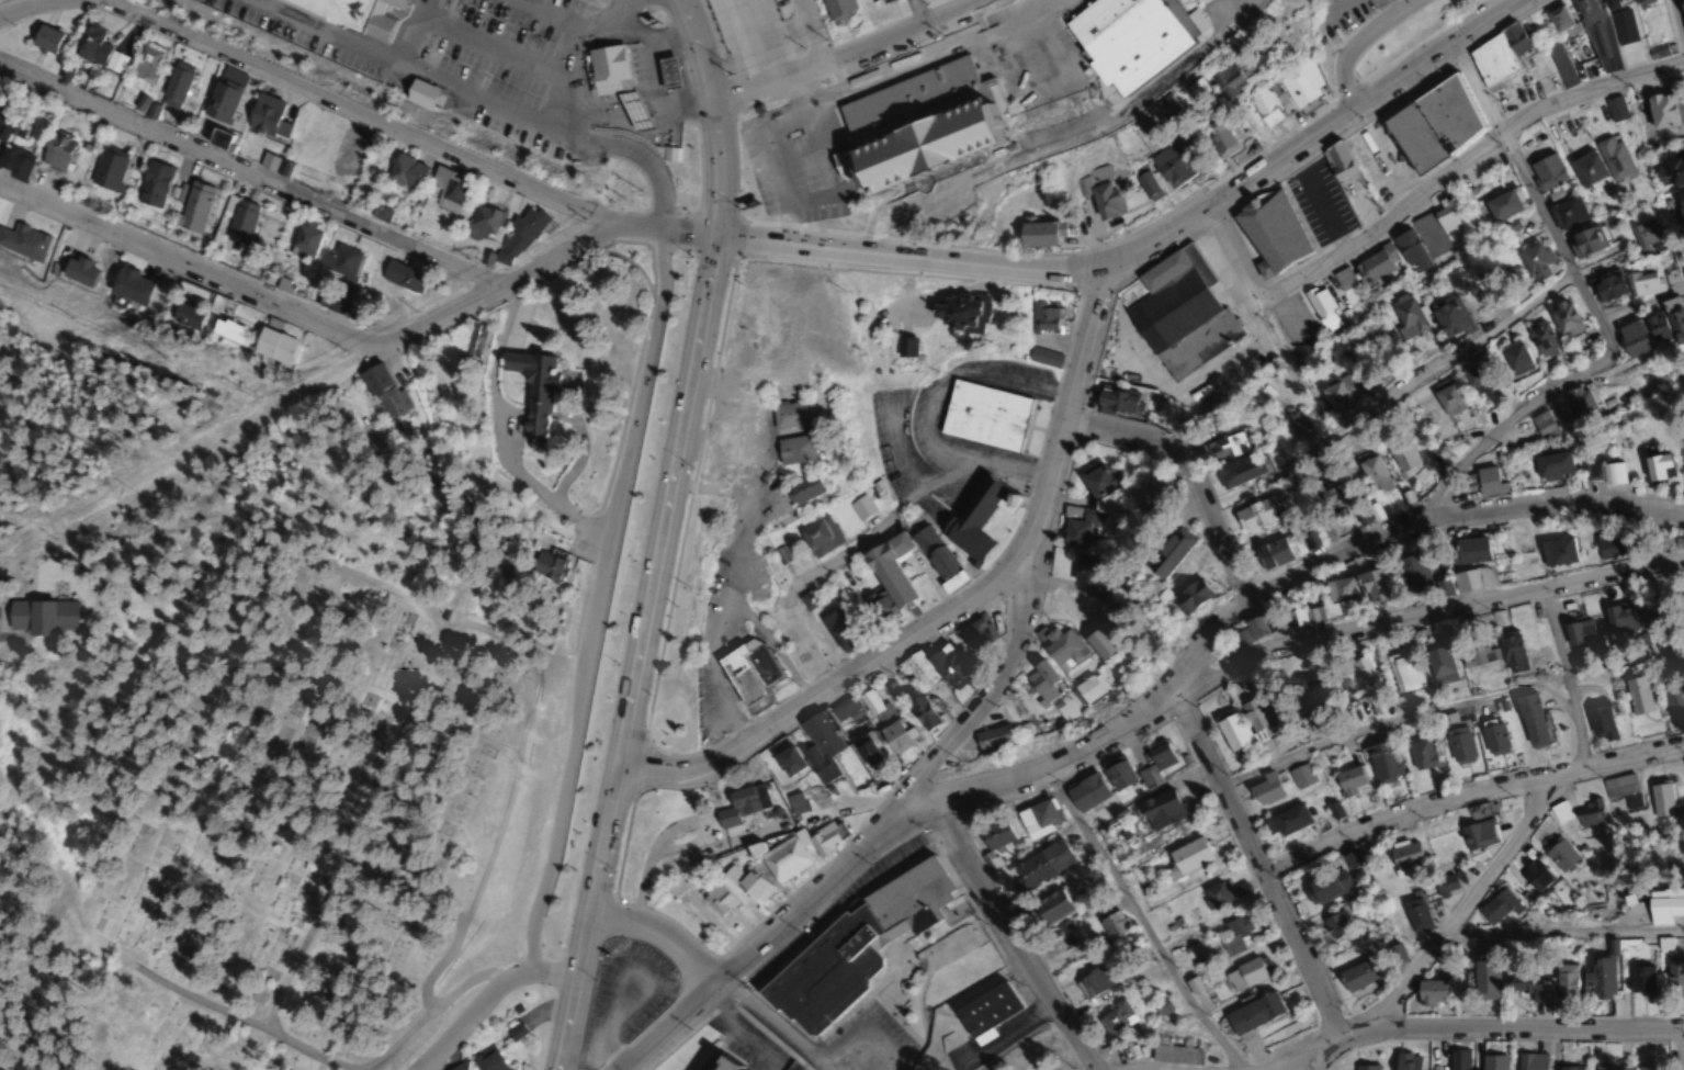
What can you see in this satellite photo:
building: (1634, 1)
building: (874, 2)
building: (1610, 3)
road: (23, 5)
building: (836, 9)
road: (919, 12)
road: (1680, 12)
building: (1681, 13)
building: (353, 14)
building: (1558, 19)
road: (807, 32)
building: (1126, 37)
building: (1596, 37)
building: (43, 40)
road: (1358, 43)
building: (88, 44)
road: (846, 53)
building: (1494, 54)
building: (143, 60)
building: (1557, 60)
road: (914, 63)
building: (636, 64)
building: (666, 72)
building: (1224, 80)
building: (1299, 83)
building: (173, 86)
building: (1191, 89)
building: (418, 93)
building: (219, 99)
road: (352, 106)
building: (1262, 106)
building: (1660, 111)
road: (722, 115)
building: (11, 122)
building: (1432, 122)
building: (913, 127)
road: (1315, 136)
building: (215, 138)
road: (1054, 139)
building: (1217, 142)
building: (53, 150)
building: (342, 153)
building: (1615, 159)
road: (1460, 164)
building: (273, 165)
building: (1166, 165)
building: (1490, 165)
building: (105, 170)
building: (1547, 171)
building: (1589, 171)
building: (1670, 171)
building: (402, 172)
road: (248, 176)
building: (1347, 182)
building: (1143, 183)
road: (1527, 183)
building: (152, 184)
building: (447, 194)
building: (1101, 196)
building: (1503, 204)
building: (1680, 204)
building: (191, 207)
building: (1563, 209)
building: (239, 218)
building: (482, 219)
building: (1437, 227)
building: (521, 232)
building: (1267, 232)
building: (1033, 234)
building: (1645, 234)
traffic signals: (726, 238)
building: (304, 240)
building: (1585, 240)
building: (23, 243)
building: (1409, 249)
road: (1229, 254)
road: (911, 258)
building: (1533, 259)
road: (538, 260)
road: (181, 261)
building: (340, 262)
building: (1371, 267)
building: (400, 277)
building: (1343, 279)
building: (1642, 282)
building: (129, 285)
building: (1606, 288)
building: (331, 303)
building: (959, 313)
building: (1176, 313)
building: (184, 315)
building: (1449, 316)
building: (1043, 317)
building: (1406, 317)
building: (1564, 319)
building: (1672, 319)
building: (1655, 328)
building: (228, 330)
building: (1631, 338)
building: (1541, 339)
building: (272, 346)
building: (904, 347)
mineshaft: (1411, 357)
building: (1516, 357)
building: (1042, 358)
building: (1474, 379)
road: (1553, 384)
building: (381, 392)
road: (1394, 393)
building: (1335, 396)
building: (1447, 397)
building: (517, 398)
building: (1114, 402)
building: (1579, 402)
building: (787, 415)
building: (982, 416)
building: (1297, 423)
building: (1541, 423)
road: (1069, 432)
building: (1224, 447)
building: (790, 450)
building: (1438, 451)
building: (1403, 459)
building: (1551, 465)
building: (1655, 468)
building: (1237, 471)
building: (1603, 473)
building: (1375, 475)
road: (1193, 478)
building: (1098, 480)
building: (1487, 481)
building: (800, 489)
building: (1145, 498)
road: (676, 500)
building: (1332, 500)
building: (1255, 516)
building: (975, 517)
road: (1680, 517)
building: (1080, 529)
road: (1398, 530)
building: (816, 538)
building: (1306, 540)
building: (1606, 547)
building: (1467, 551)
building: (1557, 552)
building: (1166, 553)
building: (1270, 553)
building: (933, 554)
building: (547, 566)
building: (1083, 571)
building: (1412, 572)
building: (886, 575)
building: (504, 577)
building: (1463, 581)
building: (1189, 596)
road: (599, 600)
building: (1325, 604)
road: (1420, 610)
building: (1653, 613)
building: (35, 617)
building: (1616, 618)
building: (837, 630)
building: (1250, 631)
building: (977, 633)
building: (1578, 633)
building: (1098, 643)
building: (1061, 647)
building: (1511, 652)
road: (779, 655)
building: (1476, 655)
building: (933, 665)
building: (1439, 665)
building: (745, 668)
road: (710, 672)
building: (1403, 672)
building: (1356, 674)
road: (1562, 676)
building: (1041, 682)
building: (891, 688)
building: (1088, 690)
building: (1306, 692)
building: (1637, 695)
road: (825, 696)
building: (1673, 699)
parking lot: (713, 706)
building: (920, 712)
road: (976, 713)
building: (1529, 720)
building: (883, 723)
building: (1598, 724)
building: (1243, 725)
building: (1493, 737)
building: (992, 739)
building: (1457, 739)
building: (818, 746)
building: (867, 750)
building: (1422, 754)
road: (1053, 758)
building: (786, 761)
building: (1155, 761)
building: (1382, 762)
building: (1117, 774)
building: (1301, 776)
building: (1348, 780)
building: (1619, 786)
building: (1264, 790)
road: (1468, 791)
building: (1085, 792)
building: (1663, 800)
building: (795, 803)
building: (739, 804)
building: (1160, 811)
building: (1559, 811)
building: (1590, 813)
building: (1038, 818)
building: (1286, 821)
road: (903, 824)
building: (1478, 829)
building: (995, 836)
building: (821, 841)
building: (1559, 854)
building: (1188, 856)
building: (1404, 856)
building: (778, 858)
building: (1350, 859)
road: (1259, 864)
building: (1040, 865)
building: (1534, 875)
building: (746, 883)
building: (1443, 886)
building: (1324, 887)
building: (1217, 894)
building: (716, 898)
building: (1664, 899)
building: (1495, 905)
building: (1050, 908)
road: (1461, 908)
building: (1435, 910)
building: (1416, 915)
road: (597, 917)
building: (1112, 924)
building: (1334, 926)
building: (1234, 935)
road: (666, 936)
road: (1011, 939)
building: (1067, 942)
building: (1484, 945)
building: (851, 947)
road: (750, 957)
building: (1358, 975)
building: (1598, 978)
building: (1673, 978)
building: (1482, 979)
building: (1638, 979)
building: (1093, 981)
building: (1562, 982)
building: (1525, 985)
building: (1427, 992)
road: (483, 998)
building: (986, 1009)
building: (1252, 1014)
building: (1115, 1017)
road: (771, 1025)
road: (1510, 1029)
building: (515, 1032)
road: (1327, 1048)
road: (1682, 1049)
building: (1174, 1056)
building: (486, 1060)
building: (1454, 1060)
building: (1403, 1061)
road: (1316, 1062)
building: (1488, 1062)
building: (1526, 1062)
road: (1298, 1063)
building: (715, 1066)
building: (1642, 1067)
building: (1363, 1068)
building: (1563, 1068)
building: (1596, 1068)
building: (454, 1069)

